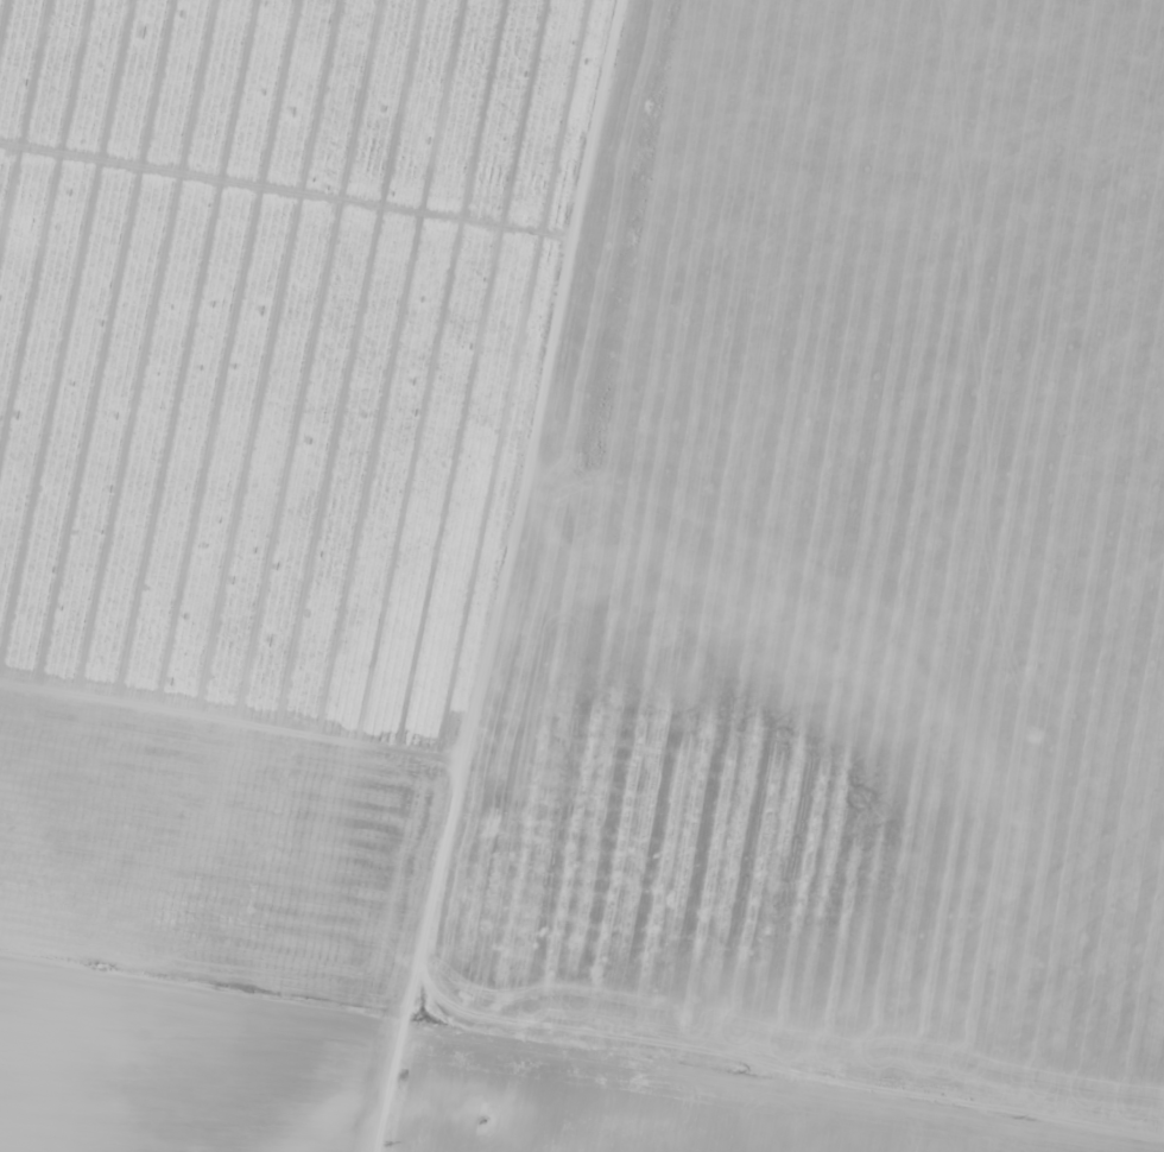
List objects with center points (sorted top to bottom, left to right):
road: (582, 1049)

